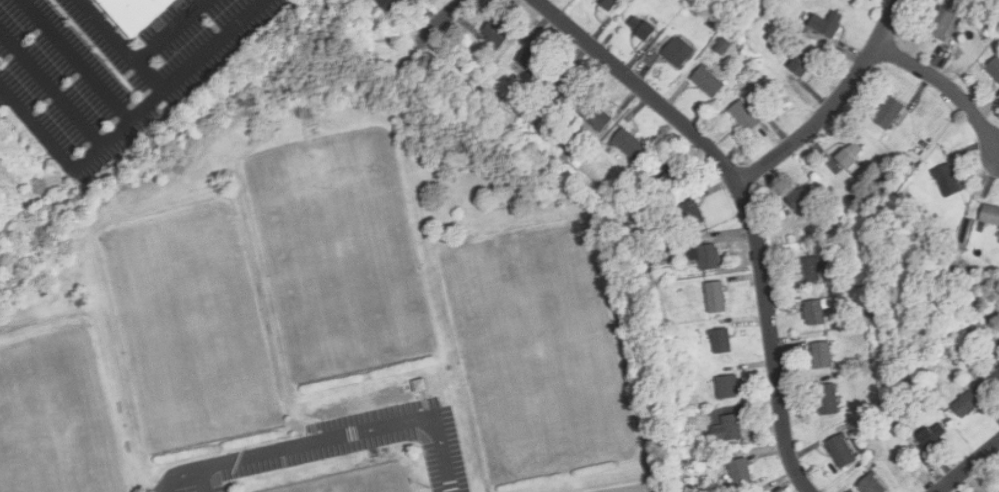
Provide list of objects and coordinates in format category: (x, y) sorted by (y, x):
building: (964, 0)
building: (611, 4)
building: (391, 5)
building: (788, 5)
building: (143, 11)
building: (963, 14)
road: (448, 17)
building: (782, 17)
building: (828, 23)
building: (942, 24)
building: (644, 29)
building: (498, 33)
building: (723, 48)
building: (680, 51)
road: (138, 61)
building: (532, 61)
road: (77, 62)
building: (804, 65)
building: (994, 70)
road: (404, 74)
road: (148, 80)
building: (708, 81)
road: (945, 86)
building: (566, 90)
road: (52, 91)
road: (831, 105)
building: (891, 113)
building: (597, 116)
building: (746, 117)
road: (131, 125)
building: (628, 145)
building: (925, 146)
building: (852, 156)
building: (668, 175)
building: (947, 180)
building: (801, 198)
road: (745, 205)
building: (693, 214)
building: (990, 215)
building: (967, 225)
building: (792, 240)
building: (693, 255)
park: (341, 256)
building: (667, 256)
building: (709, 258)
building: (811, 270)
park: (339, 297)
building: (717, 299)
building: (816, 314)
park: (191, 326)
building: (723, 342)
park: (539, 352)
building: (822, 356)
building: (994, 381)
building: (421, 385)
building: (728, 388)
building: (828, 401)
building: (967, 405)
park: (55, 426)
building: (728, 429)
building: (934, 436)
road: (329, 439)
parking lot: (340, 448)
building: (842, 451)
building: (865, 452)
road: (969, 467)
building: (741, 472)
road: (203, 481)
building: (871, 485)
street lamp: (430, 486)
park: (392, 488)
building: (998, 491)

